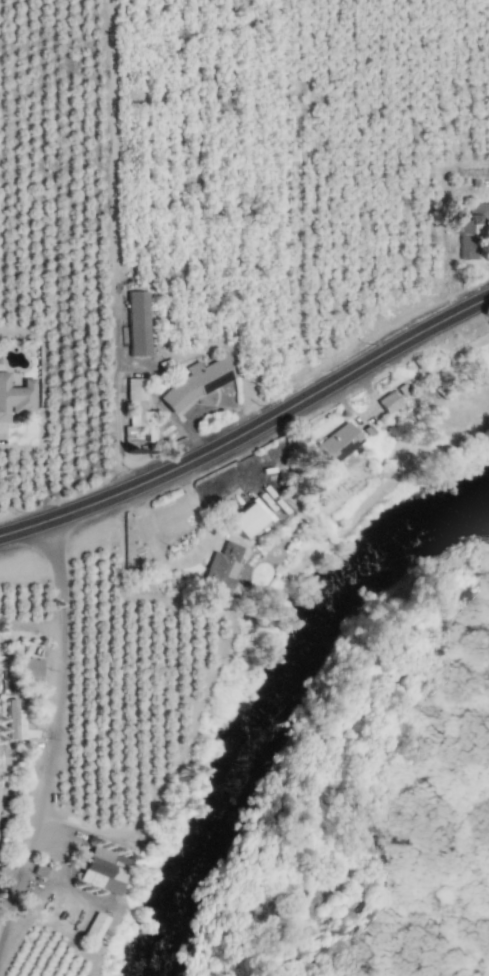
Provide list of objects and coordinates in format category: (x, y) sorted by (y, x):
building: (471, 233)
building: (139, 323)
building: (198, 383)
building: (15, 398)
road: (116, 402)
building: (388, 402)
building: (137, 403)
road: (250, 433)
building: (338, 442)
road: (240, 484)
building: (247, 520)
road: (189, 559)
building: (30, 667)
road: (55, 673)
river: (269, 690)
building: (15, 721)
crop: (360, 799)
building: (103, 870)
building: (94, 928)

